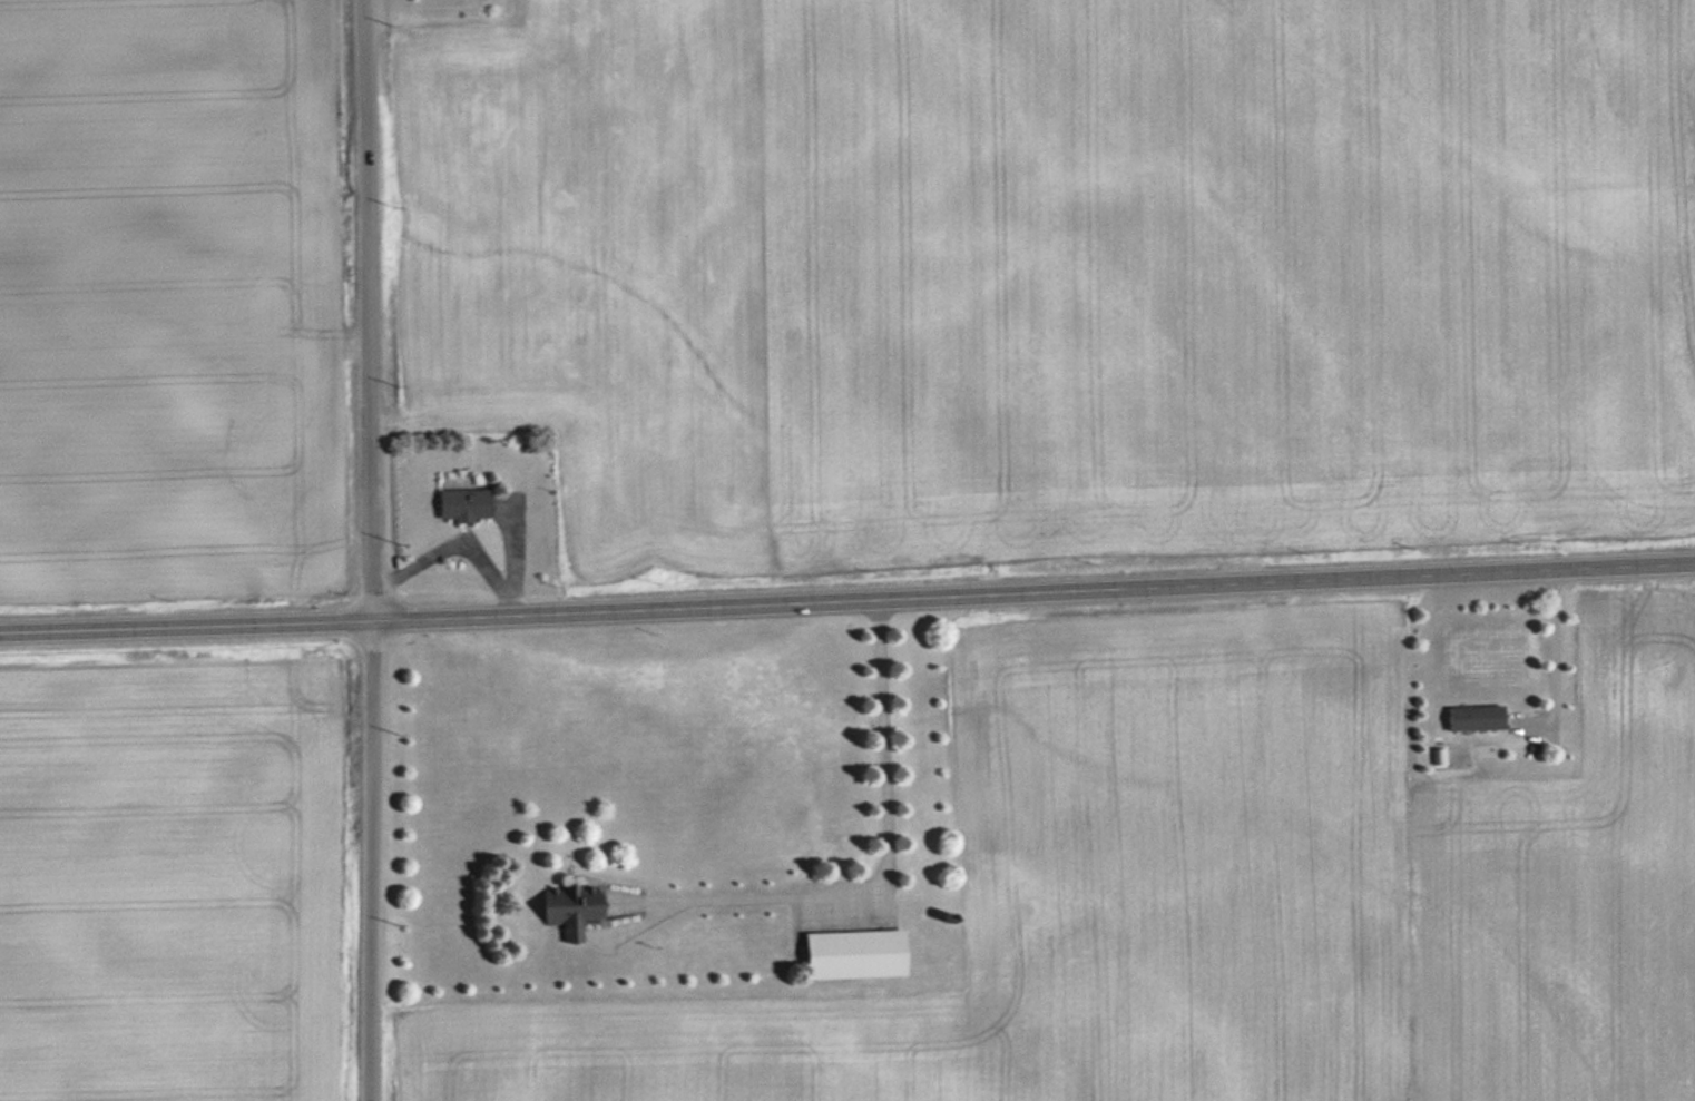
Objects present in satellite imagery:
building: (457, 504)
road: (369, 550)
road: (847, 600)
building: (1469, 717)
building: (562, 907)
building: (845, 953)

